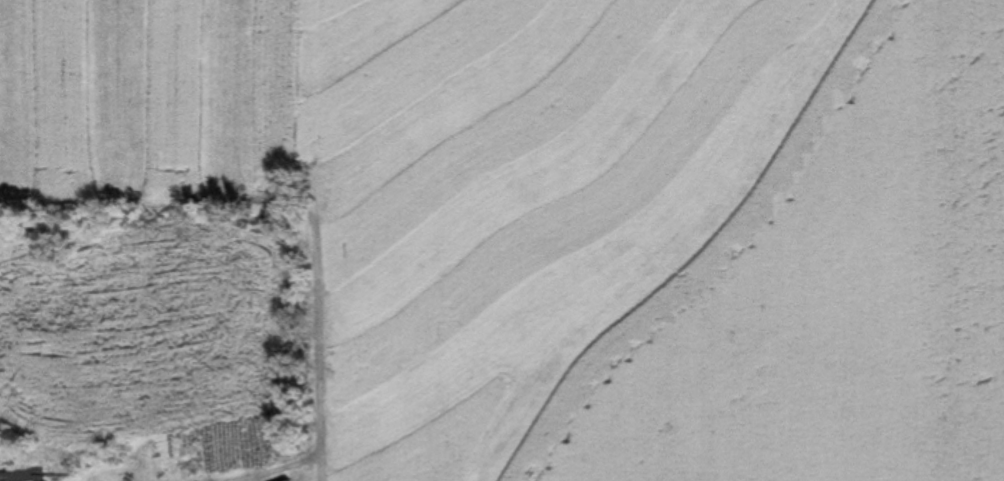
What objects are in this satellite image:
building: (21, 476)

